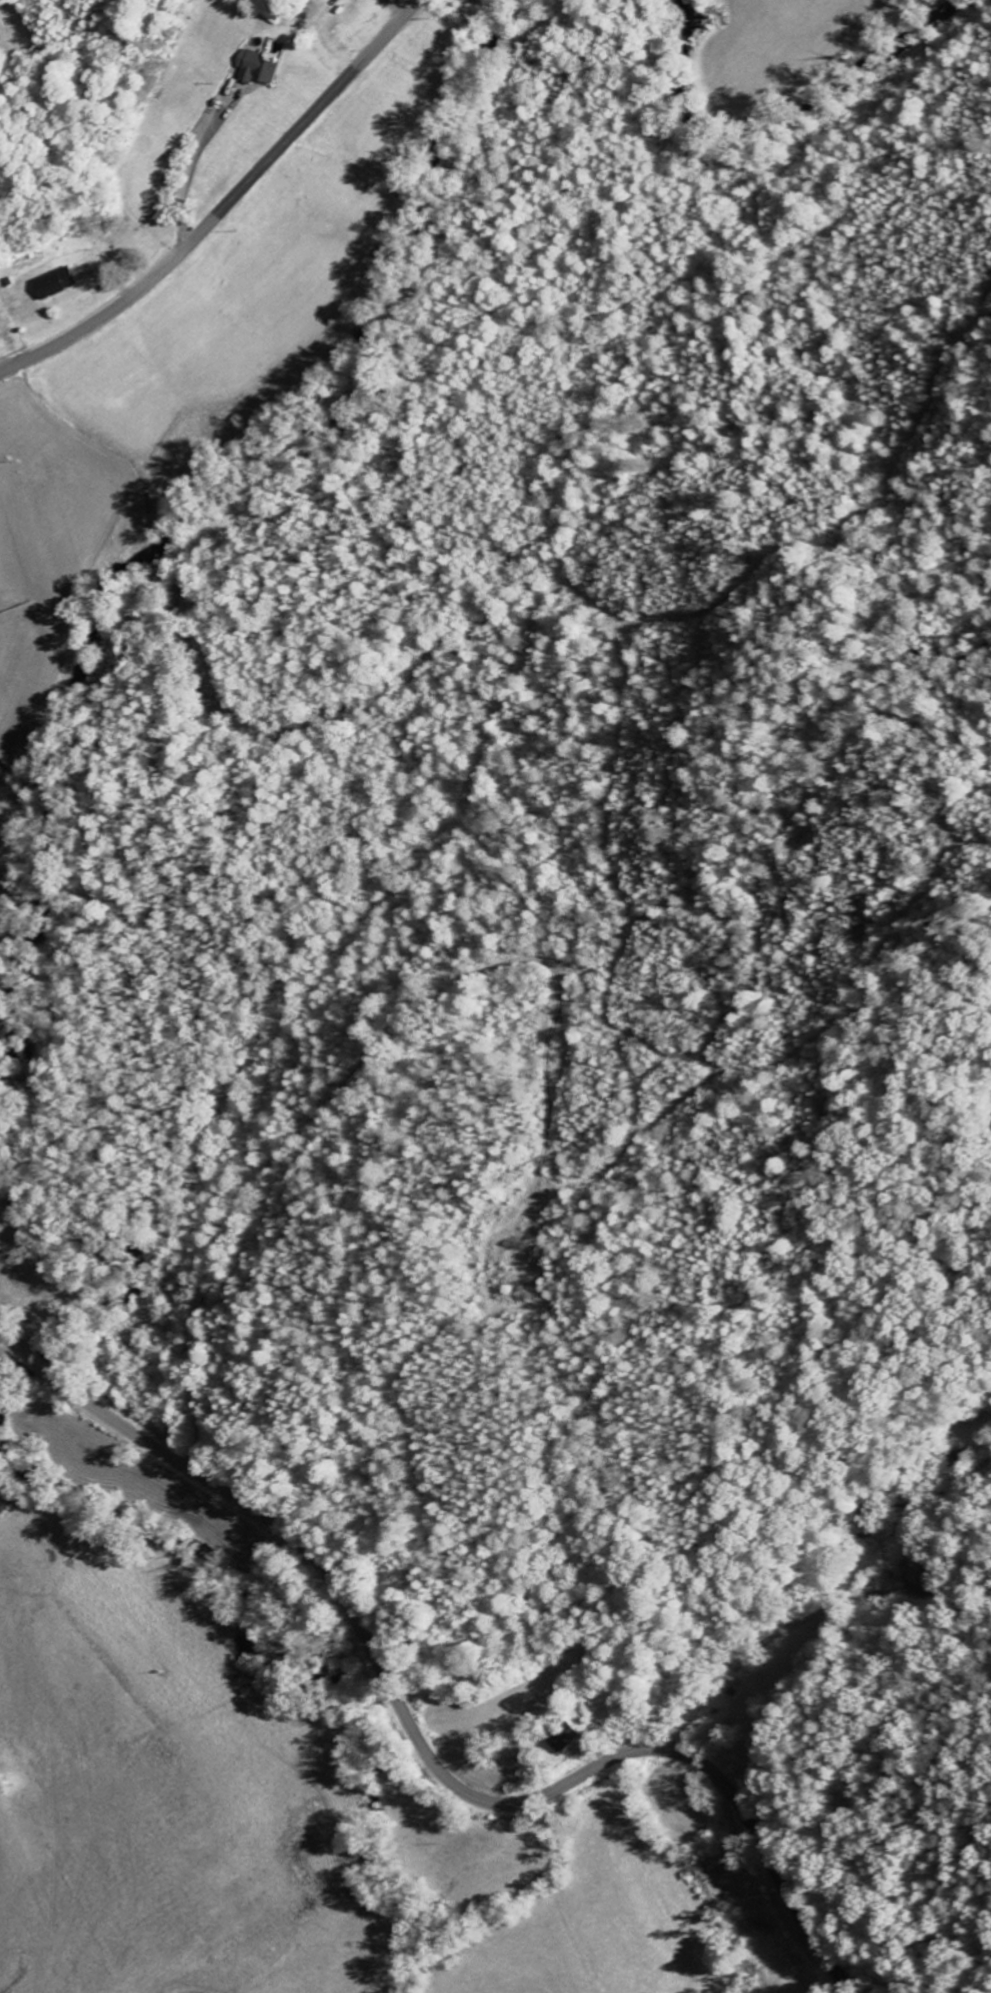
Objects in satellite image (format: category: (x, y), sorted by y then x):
building: (264, 67)
road: (226, 206)
building: (61, 282)
road: (477, 952)
road: (243, 1148)
building: (568, 1735)
road: (416, 1740)

